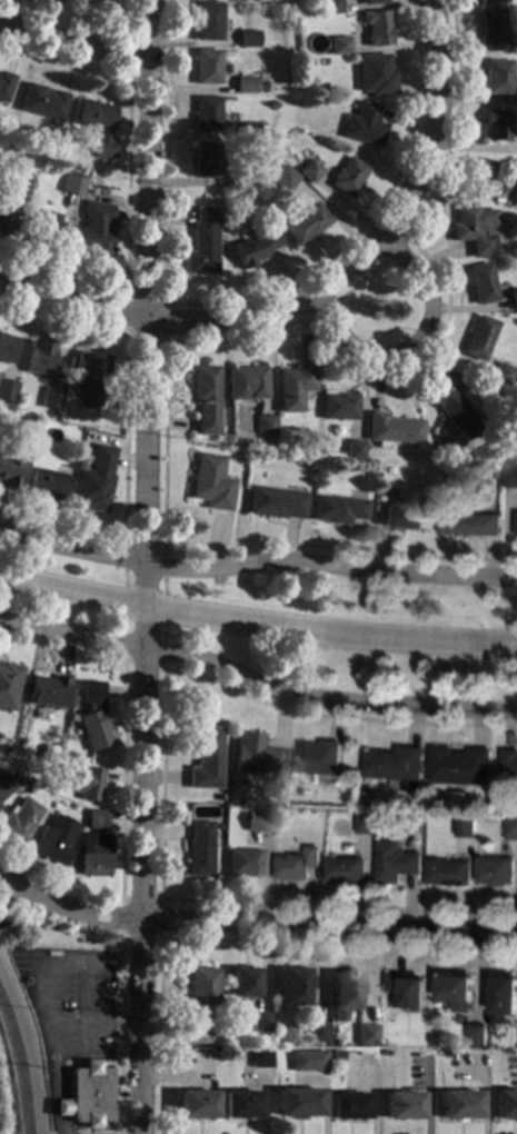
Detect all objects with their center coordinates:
building: (368, 1)
building: (486, 1)
building: (328, 7)
road: (129, 17)
building: (207, 21)
building: (374, 28)
building: (490, 29)
building: (248, 38)
building: (337, 44)
road: (72, 46)
road: (129, 54)
building: (206, 66)
building: (371, 74)
building: (495, 76)
building: (242, 83)
building: (4, 84)
building: (40, 102)
building: (205, 113)
building: (96, 123)
building: (361, 125)
building: (495, 125)
building: (247, 131)
building: (1, 158)
building: (205, 160)
building: (306, 170)
building: (484, 173)
building: (346, 177)
building: (281, 178)
building: (237, 179)
road: (128, 183)
building: (72, 185)
building: (514, 193)
building: (4, 212)
building: (305, 223)
building: (43, 228)
building: (95, 229)
building: (471, 229)
road: (377, 240)
building: (201, 243)
road: (395, 243)
building: (252, 247)
road: (360, 280)
road: (145, 281)
building: (480, 282)
road: (243, 296)
building: (513, 300)
road: (71, 304)
road: (319, 309)
road: (69, 331)
building: (478, 337)
road: (217, 339)
road: (165, 340)
road: (412, 342)
building: (7, 348)
building: (42, 359)
building: (500, 374)
building: (90, 377)
building: (245, 382)
building: (7, 386)
building: (291, 386)
building: (49, 398)
building: (205, 399)
building: (449, 405)
building: (336, 406)
road: (125, 409)
building: (2, 420)
building: (262, 425)
building: (389, 429)
building: (350, 449)
building: (9, 470)
building: (387, 471)
building: (495, 471)
building: (510, 475)
building: (93, 481)
building: (210, 481)
building: (46, 484)
building: (275, 503)
building: (336, 509)
building: (400, 516)
building: (467, 521)
building: (516, 523)
road: (143, 546)
road: (257, 561)
road: (122, 576)
road: (142, 584)
road: (162, 585)
road: (122, 600)
road: (162, 601)
road: (162, 615)
road: (256, 620)
park: (289, 621)
road: (122, 625)
road: (162, 633)
road: (141, 664)
road: (255, 683)
building: (8, 685)
building: (46, 692)
building: (90, 716)
building: (256, 755)
building: (319, 757)
building: (205, 760)
building: (509, 764)
building: (395, 765)
building: (459, 765)
road: (121, 778)
road: (160, 780)
building: (78, 782)
building: (3, 787)
building: (250, 818)
building: (18, 819)
building: (95, 819)
building: (365, 822)
building: (264, 823)
building: (464, 825)
building: (510, 827)
building: (52, 840)
building: (198, 849)
building: (92, 854)
building: (394, 861)
building: (242, 863)
building: (295, 863)
building: (344, 868)
road: (139, 869)
building: (494, 869)
building: (446, 872)
road: (253, 924)
road: (158, 937)
road: (240, 941)
road: (112, 959)
building: (241, 982)
road: (33, 986)
building: (292, 986)
building: (198, 987)
building: (344, 988)
road: (86, 989)
building: (406, 989)
building: (456, 989)
building: (505, 995)
road: (112, 1019)
building: (258, 1022)
building: (315, 1032)
building: (197, 1034)
building: (365, 1034)
building: (475, 1034)
road: (118, 1035)
building: (511, 1051)
building: (385, 1053)
building: (436, 1054)
building: (233, 1055)
road: (84, 1056)
building: (258, 1057)
road: (52, 1058)
building: (306, 1061)
building: (84, 1095)
building: (296, 1102)
building: (238, 1103)
building: (504, 1103)
building: (458, 1104)
building: (193, 1105)
building: (347, 1105)
building: (400, 1105)
road: (53, 1107)
road: (56, 1124)
road: (59, 1133)

